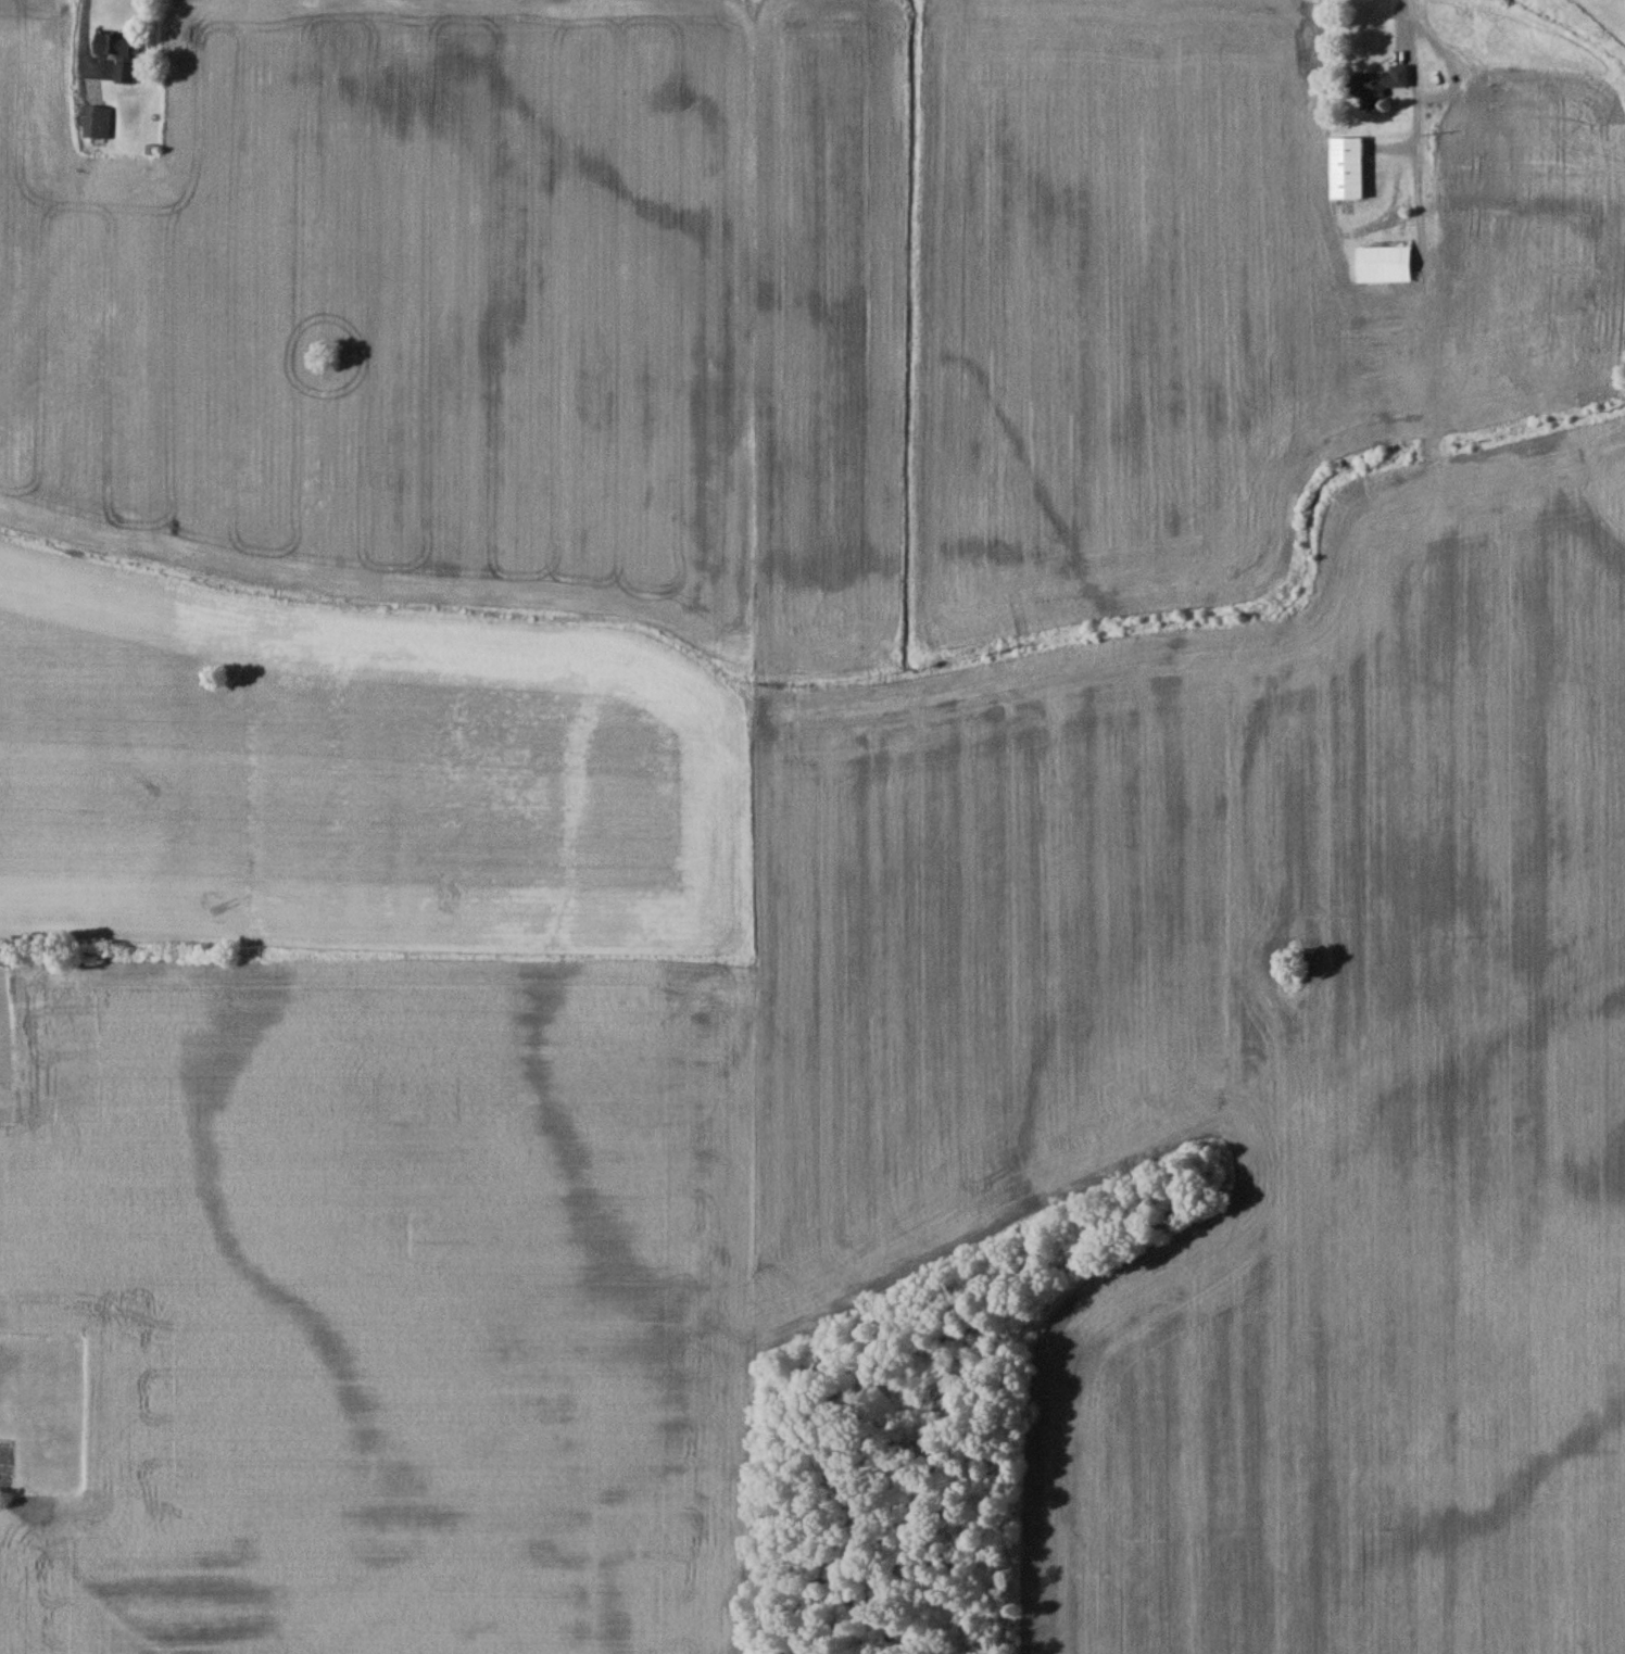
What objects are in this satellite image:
road: (79, 41)
building: (118, 52)
building: (1374, 81)
building: (1485, 83)
road: (1415, 111)
building: (97, 121)
building: (1457, 130)
building: (1346, 166)
building: (1383, 263)

